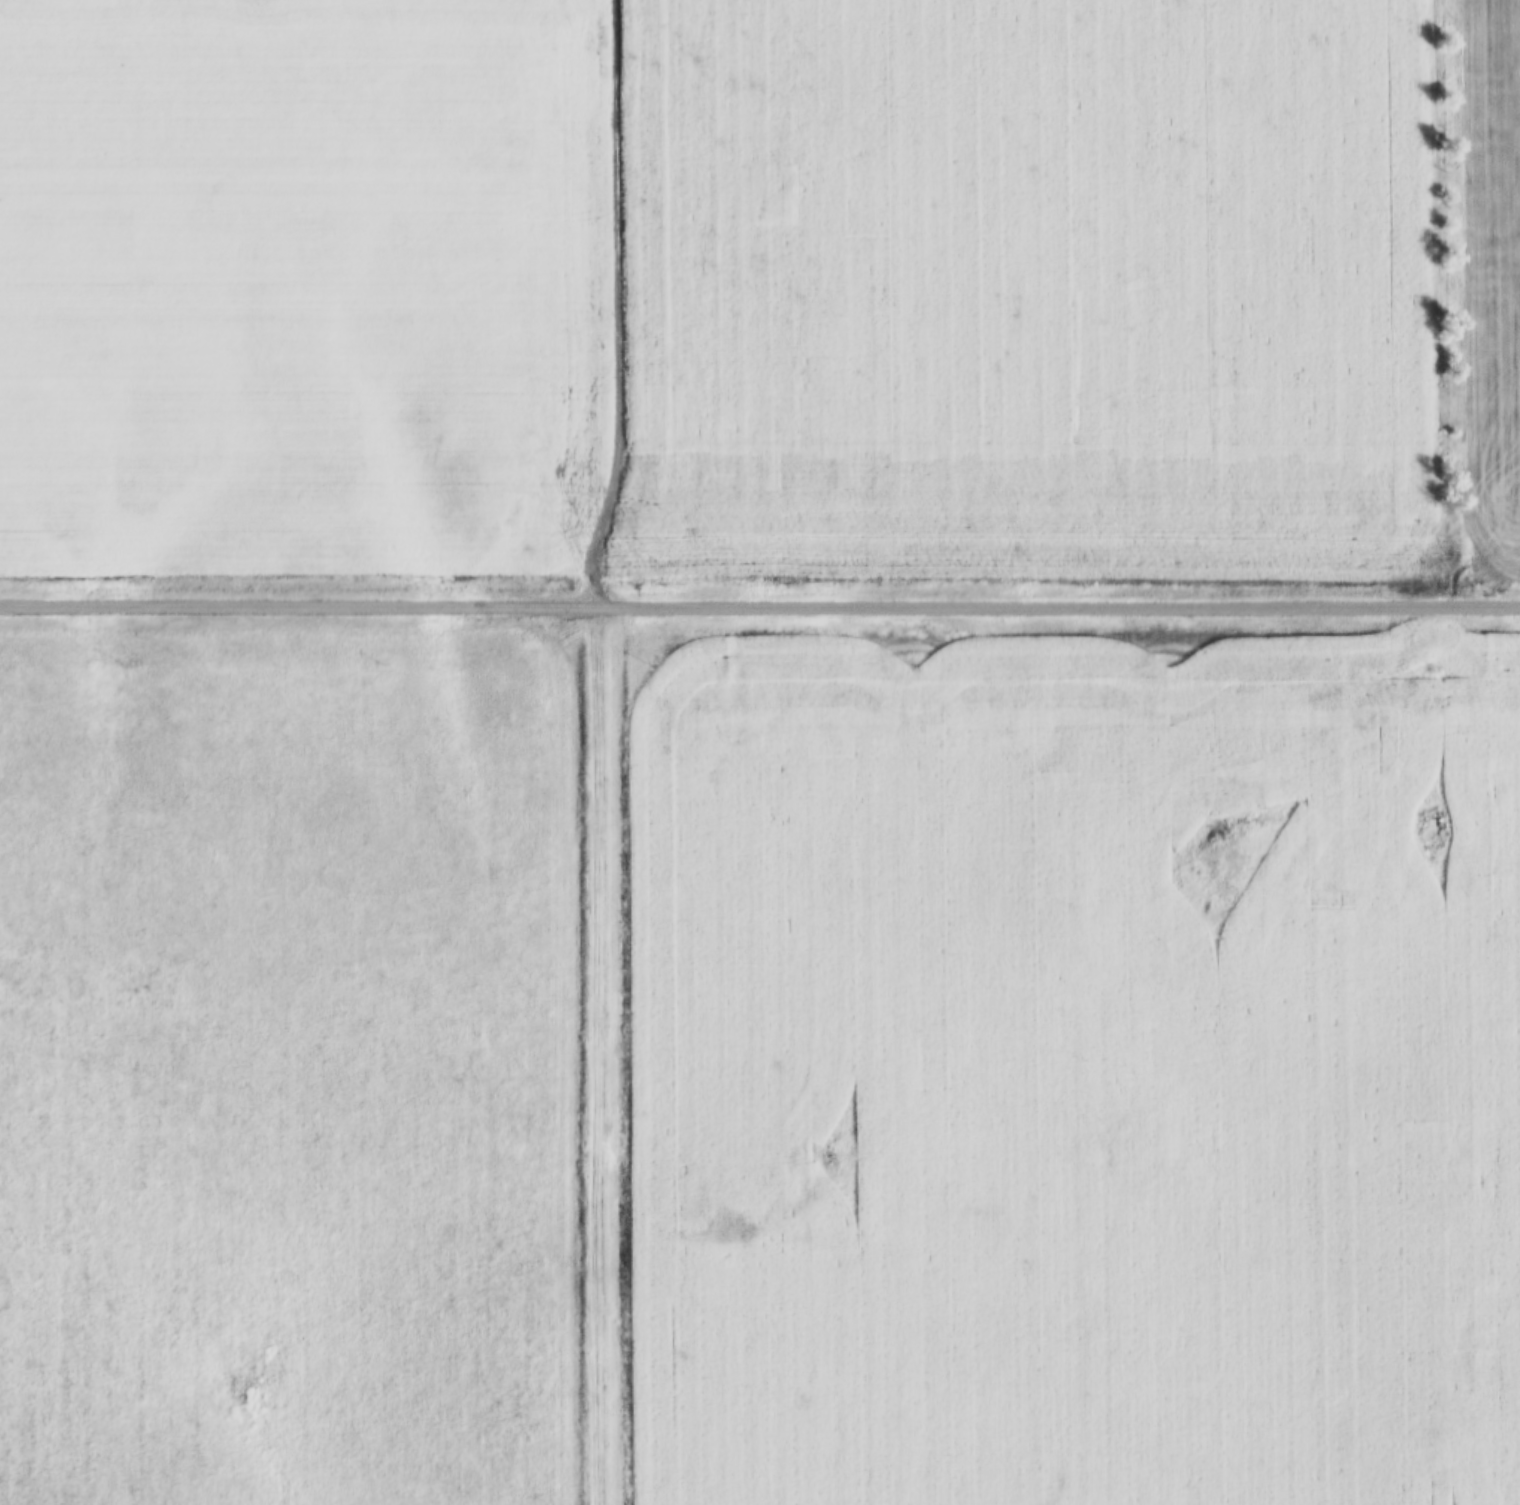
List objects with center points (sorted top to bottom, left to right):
road: (598, 301)
road: (759, 601)

